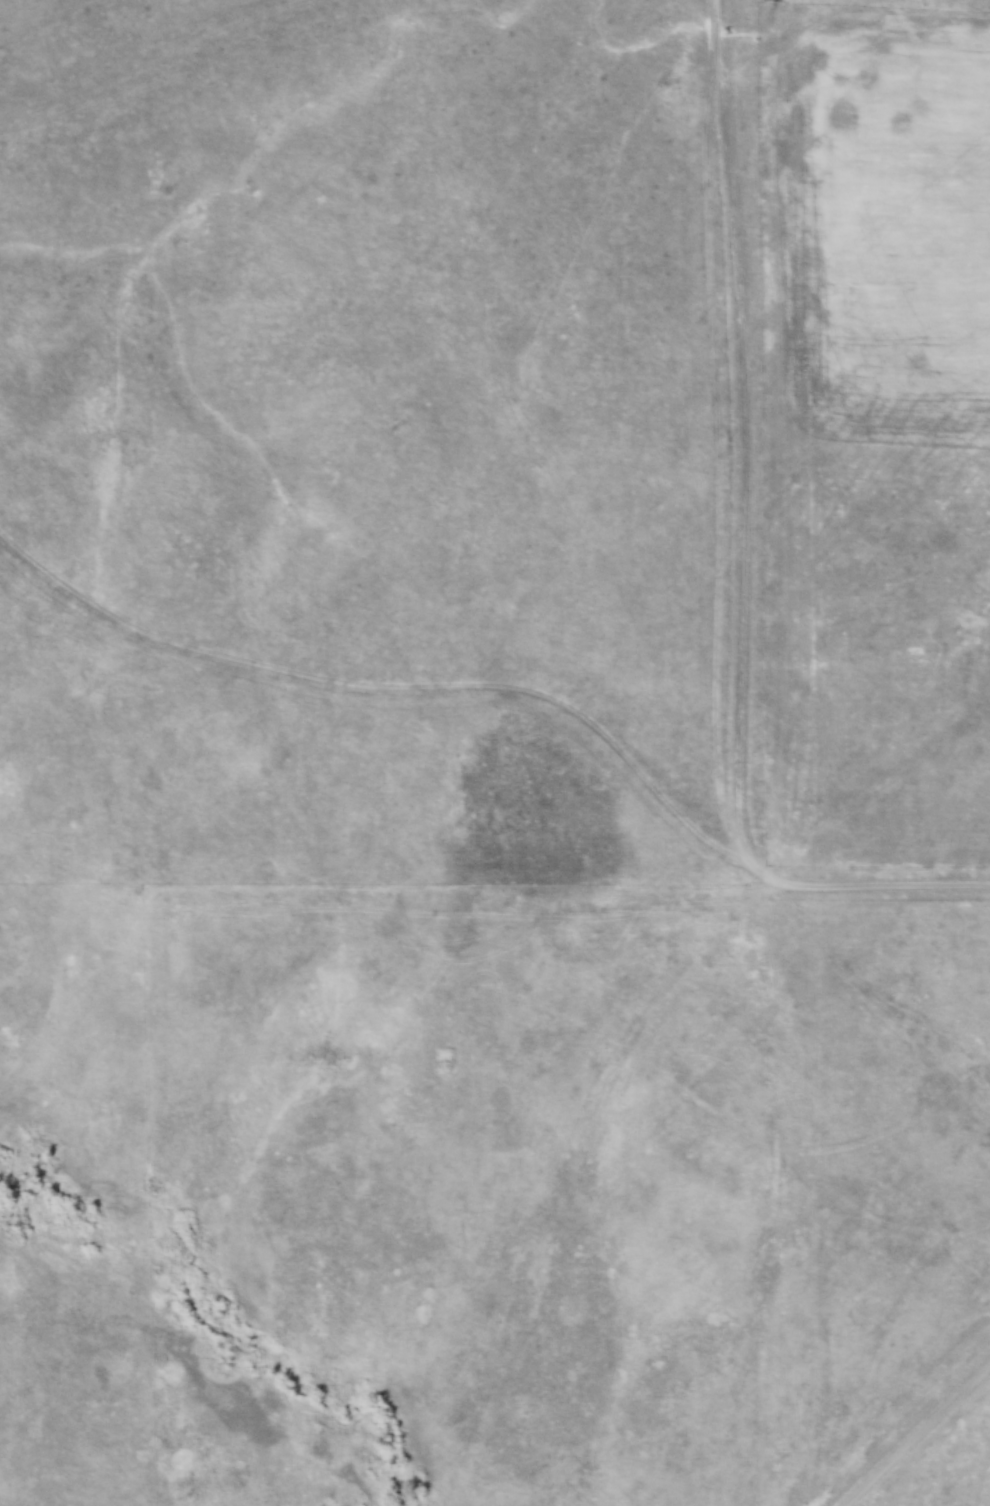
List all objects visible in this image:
road: (740, 559)
road: (919, 1439)

